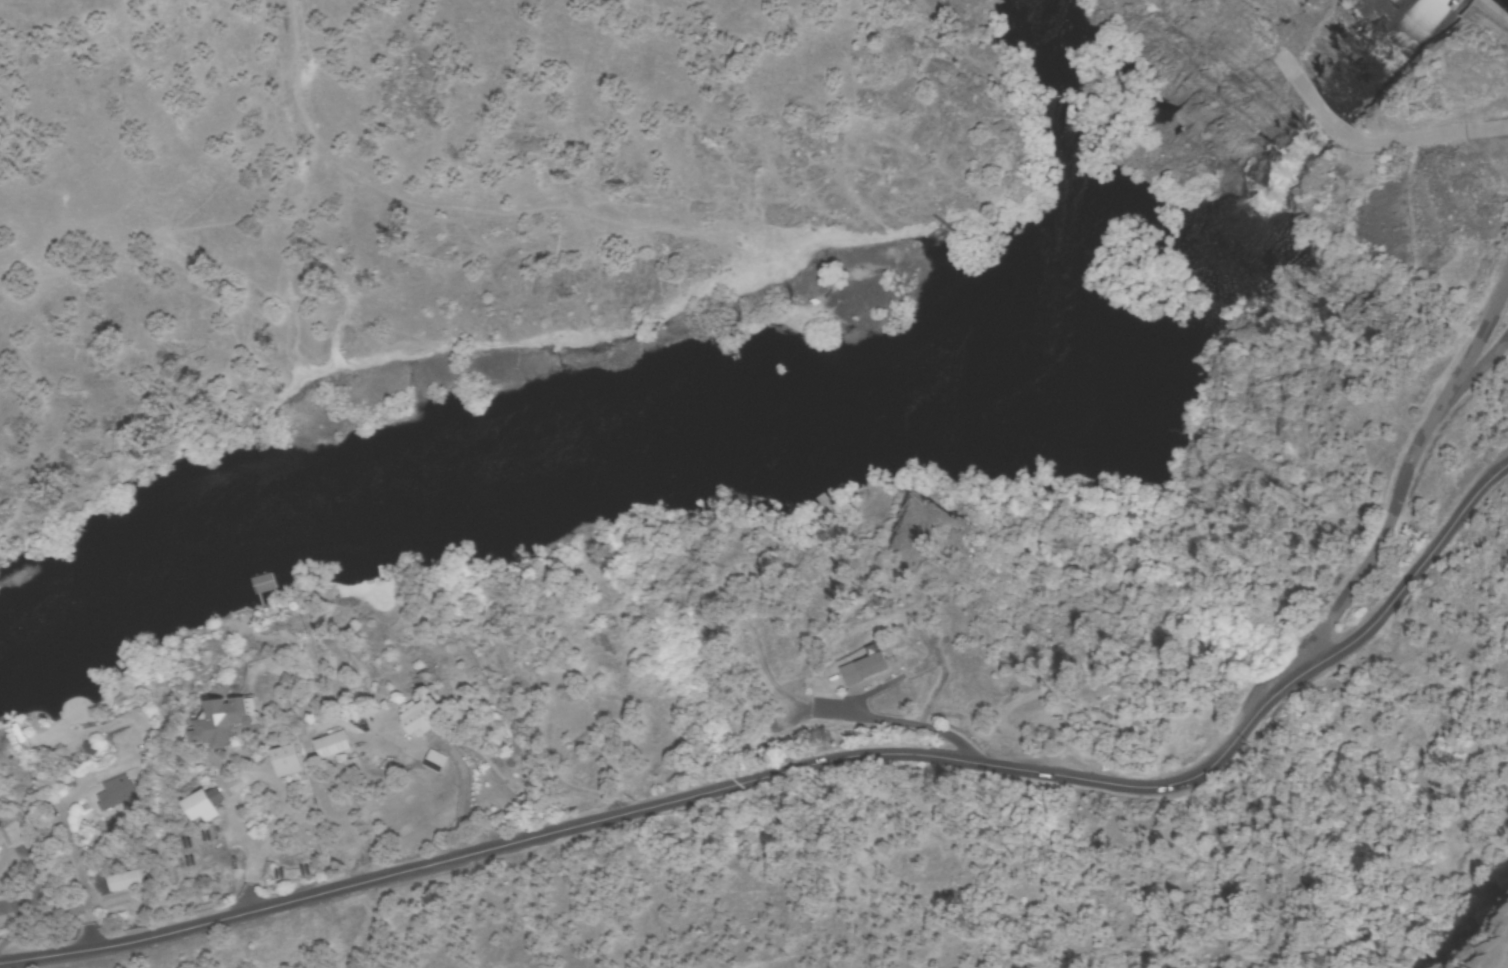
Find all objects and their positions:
road: (1497, 8)
dam: (1488, 16)
road: (1253, 37)
road: (1316, 108)
road: (1424, 142)
road: (1505, 471)
road: (1410, 495)
building: (386, 575)
building: (264, 590)
building: (862, 668)
building: (867, 681)
building: (1123, 715)
building: (423, 717)
building: (377, 718)
building: (1103, 719)
road: (911, 725)
building: (219, 729)
building: (22, 738)
building: (88, 747)
building: (328, 756)
road: (854, 760)
building: (435, 762)
building: (282, 771)
building: (116, 794)
building: (111, 808)
building: (197, 815)
building: (127, 882)
building: (120, 893)

